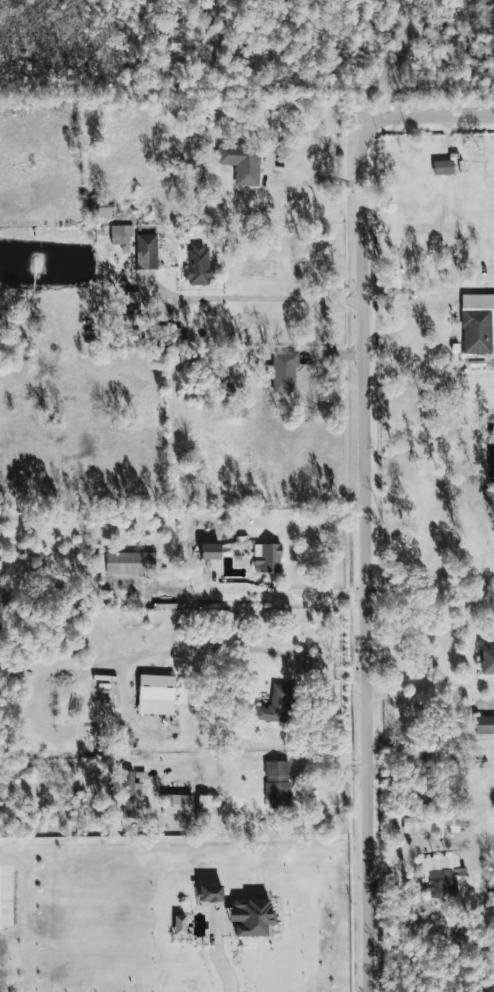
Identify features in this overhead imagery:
road: (400, 60)
road: (432, 116)
building: (241, 162)
building: (442, 167)
road: (316, 176)
building: (120, 234)
building: (146, 251)
building: (198, 265)
road: (253, 299)
building: (477, 323)
building: (126, 336)
building: (170, 337)
building: (282, 371)
road: (366, 557)
building: (266, 558)
building: (123, 563)
road: (249, 596)
road: (220, 653)
building: (487, 661)
building: (155, 695)
building: (275, 705)
road: (431, 710)
building: (484, 725)
road: (266, 755)
building: (277, 784)
building: (127, 794)
building: (176, 804)
building: (203, 807)
building: (430, 825)
building: (440, 876)
building: (209, 893)
building: (250, 917)
building: (181, 926)

